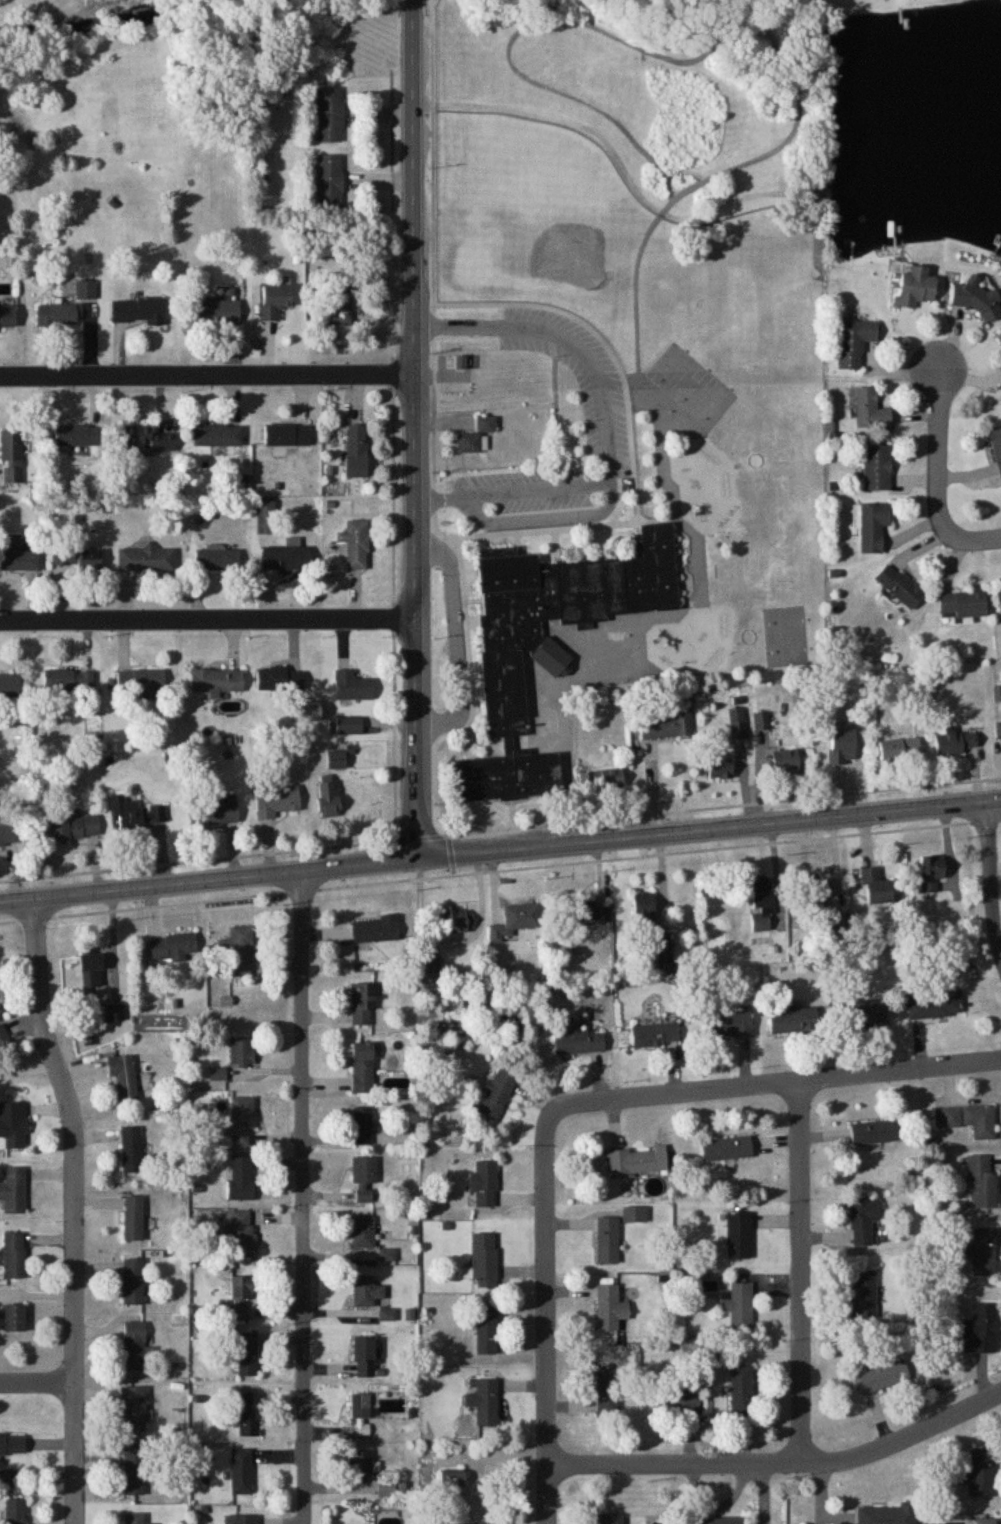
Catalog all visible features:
road: (675, 61)
building: (330, 114)
road: (573, 117)
road: (435, 149)
road: (684, 172)
building: (330, 181)
park: (565, 228)
building: (914, 286)
building: (976, 298)
building: (340, 299)
building: (274, 301)
building: (137, 311)
building: (215, 312)
building: (7, 316)
building: (56, 316)
road: (639, 325)
building: (1000, 334)
building: (853, 342)
road: (206, 370)
park: (693, 381)
building: (870, 411)
road: (608, 413)
parking lot: (607, 422)
building: (486, 424)
road: (413, 429)
building: (78, 435)
building: (218, 435)
building: (288, 435)
building: (149, 439)
building: (469, 443)
building: (997, 447)
building: (356, 452)
building: (11, 457)
building: (876, 469)
road: (938, 480)
road: (514, 488)
building: (266, 518)
road: (606, 521)
building: (872, 527)
building: (356, 545)
building: (17, 556)
building: (218, 558)
building: (286, 558)
building: (76, 559)
building: (147, 559)
building: (899, 586)
building: (999, 603)
building: (962, 605)
road: (209, 616)
park: (786, 630)
building: (542, 636)
road: (459, 638)
building: (280, 679)
building: (69, 680)
building: (141, 682)
building: (217, 682)
building: (9, 684)
building: (352, 687)
building: (761, 722)
building: (737, 724)
building: (349, 726)
building: (668, 727)
building: (998, 731)
building: (955, 742)
road: (542, 744)
building: (899, 749)
building: (336, 760)
building: (784, 761)
building: (720, 773)
building: (601, 780)
building: (327, 799)
building: (277, 801)
road: (514, 806)
road: (315, 808)
building: (215, 812)
building: (133, 815)
road: (564, 817)
building: (74, 828)
building: (9, 836)
road: (500, 849)
road: (500, 866)
building: (931, 873)
road: (989, 880)
building: (876, 887)
building: (816, 893)
building: (762, 905)
building: (643, 910)
building: (589, 916)
building: (455, 922)
building: (515, 922)
building: (376, 929)
building: (663, 944)
building: (172, 948)
building: (240, 952)
building: (90, 969)
building: (1, 979)
building: (363, 1003)
building: (936, 1005)
building: (114, 1012)
building: (863, 1013)
building: (793, 1019)
building: (729, 1025)
building: (655, 1034)
building: (577, 1041)
building: (242, 1052)
building: (363, 1067)
building: (123, 1077)
building: (496, 1094)
road: (569, 1103)
building: (968, 1119)
building: (242, 1122)
building: (14, 1126)
building: (362, 1126)
building: (875, 1132)
building: (726, 1148)
building: (131, 1149)
building: (633, 1162)
building: (241, 1178)
building: (364, 1180)
building: (981, 1183)
building: (483, 1184)
building: (13, 1191)
road: (302, 1196)
road: (72, 1208)
building: (134, 1218)
building: (864, 1222)
building: (363, 1232)
building: (243, 1234)
building: (739, 1235)
building: (607, 1241)
building: (982, 1251)
building: (14, 1255)
building: (484, 1260)
road: (800, 1270)
building: (133, 1281)
building: (366, 1292)
building: (864, 1295)
building: (240, 1298)
building: (738, 1305)
building: (610, 1309)
building: (14, 1318)
building: (486, 1331)
building: (981, 1331)
building: (134, 1346)
building: (247, 1354)
building: (364, 1358)
building: (884, 1376)
road: (37, 1381)
building: (740, 1390)
building: (608, 1393)
building: (676, 1401)
building: (484, 1402)
building: (133, 1410)
building: (360, 1414)
building: (248, 1424)
building: (12, 1445)
road: (782, 1462)
building: (360, 1464)
building: (134, 1472)
building: (242, 1472)
building: (979, 1474)
building: (8, 1477)
building: (386, 1490)
building: (15, 1512)
building: (888, 1515)
building: (134, 1519)
building: (609, 1519)
building: (242, 1520)
building: (985, 1521)
building: (719, 1522)
building: (485, 1523)

